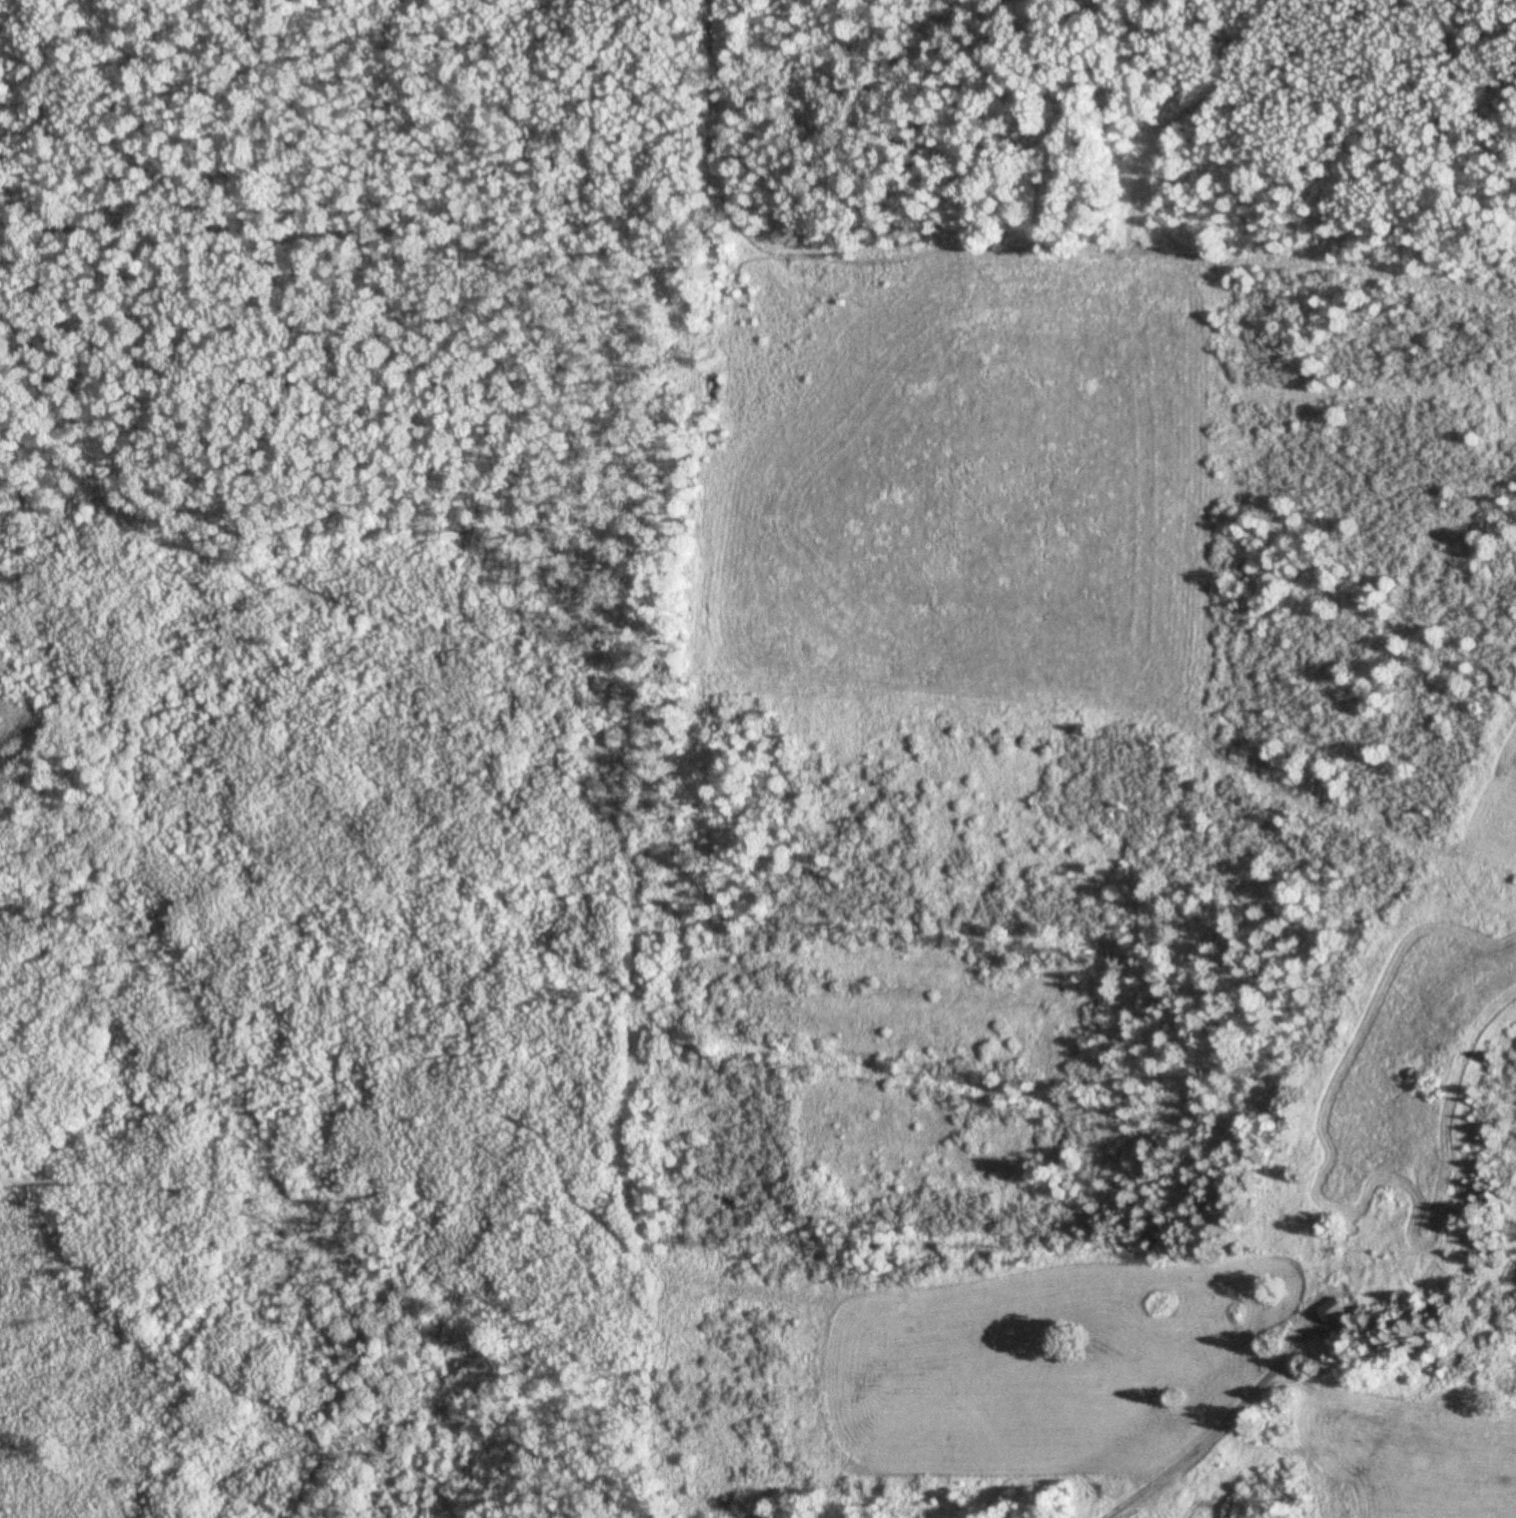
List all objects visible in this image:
building: (1335, 1313)

